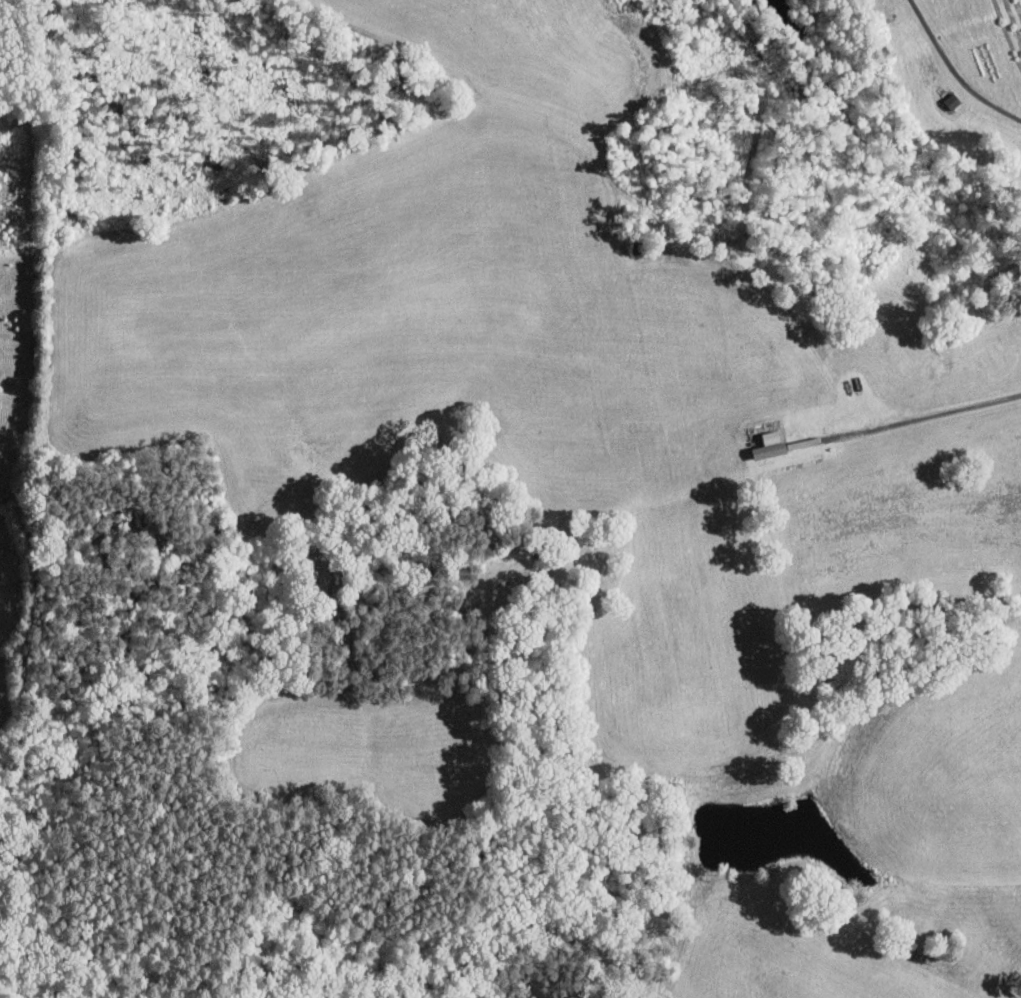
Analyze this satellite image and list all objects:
road: (955, 70)
road: (930, 414)
building: (769, 449)

